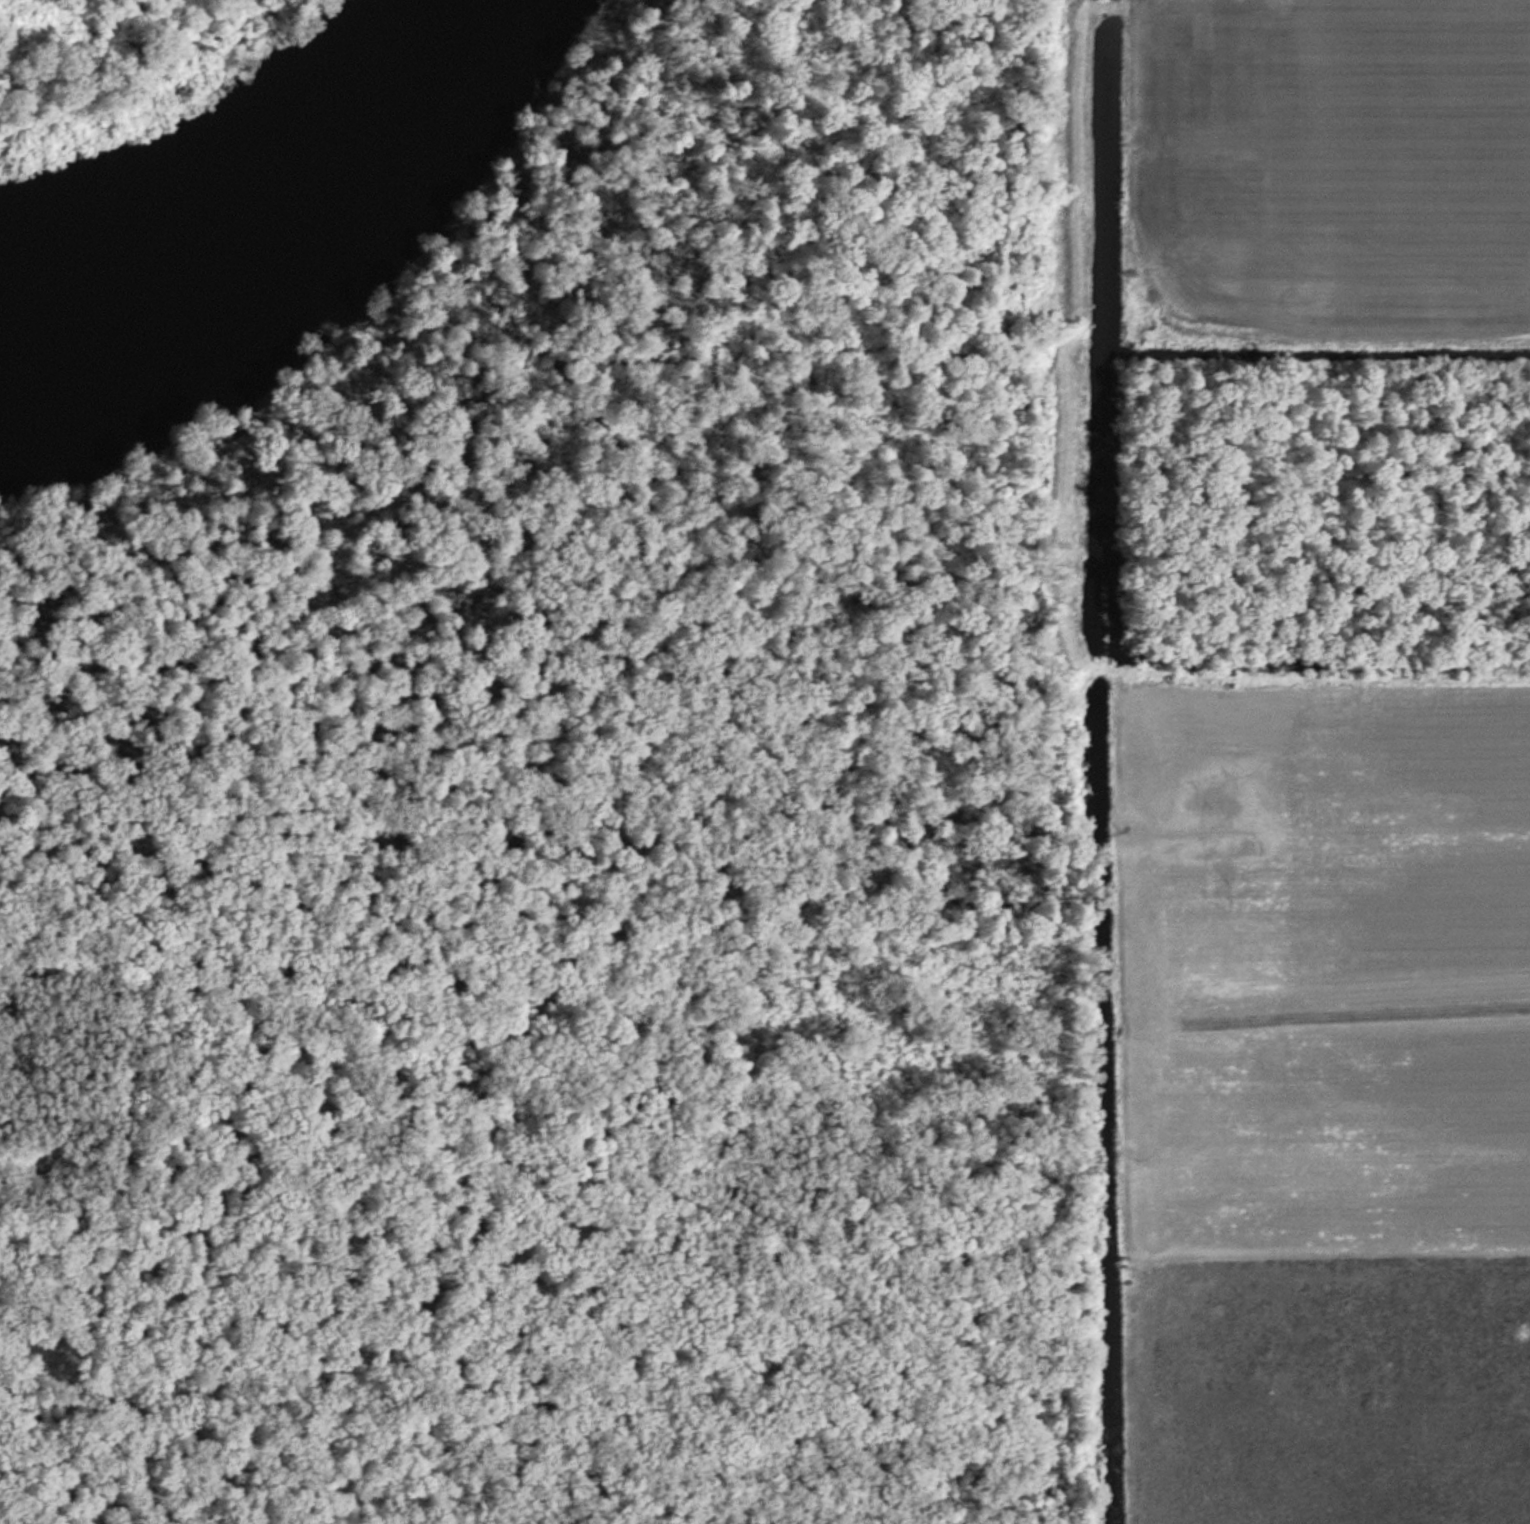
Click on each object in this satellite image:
river: (257, 215)

